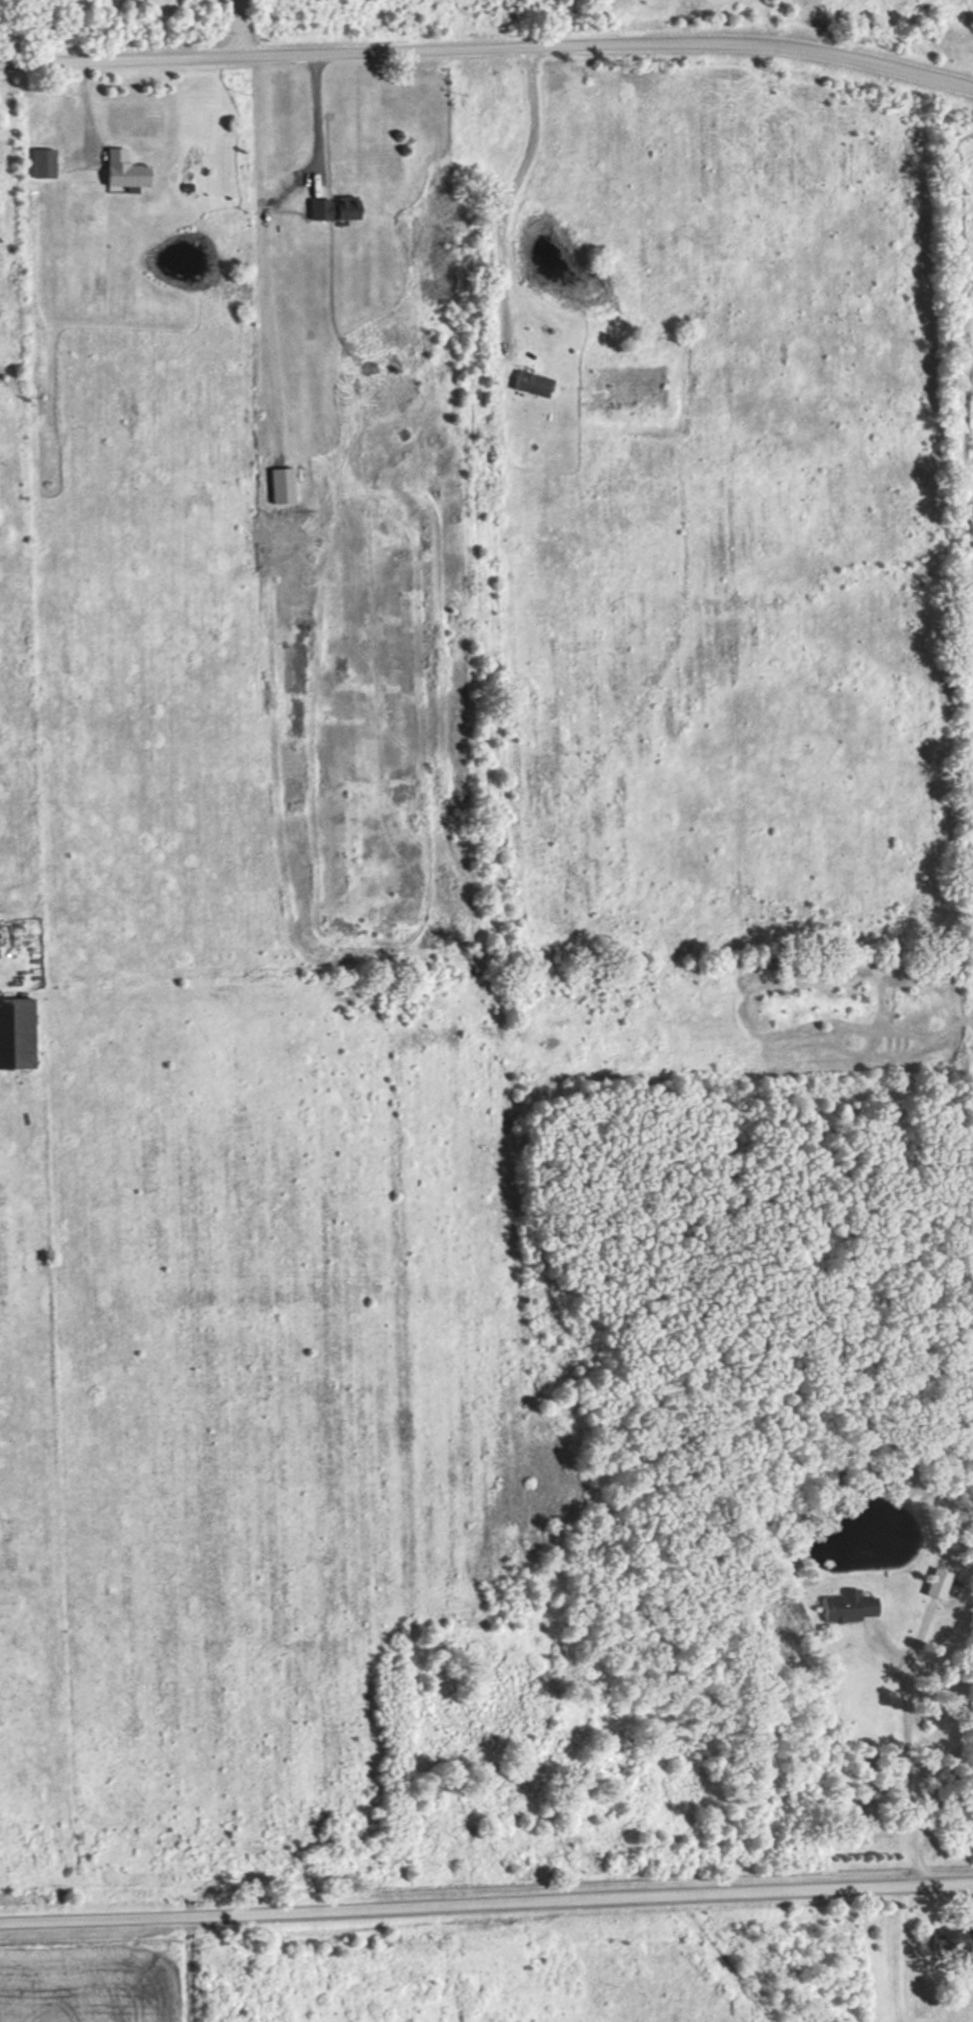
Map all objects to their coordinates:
road: (235, 27)
road: (489, 48)
road: (317, 113)
building: (36, 163)
building: (117, 171)
road: (508, 190)
building: (331, 207)
building: (525, 384)
building: (277, 485)
building: (931, 1583)
building: (841, 1606)
road: (909, 1780)
road: (486, 1906)
building: (958, 1940)

